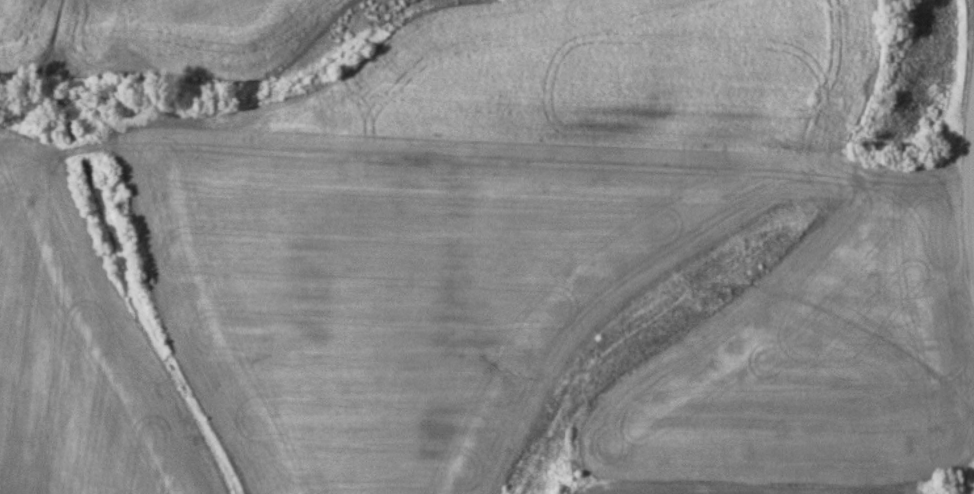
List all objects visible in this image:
road: (970, 175)

